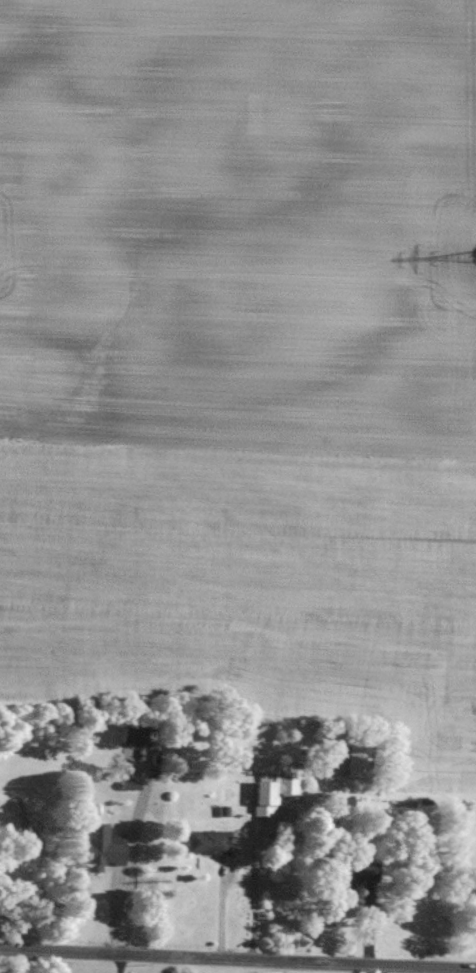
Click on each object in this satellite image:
building: (135, 733)
building: (359, 760)
building: (290, 783)
building: (264, 797)
building: (208, 841)
road: (256, 844)
building: (106, 845)
building: (356, 870)
road: (238, 954)
road: (119, 961)
road: (376, 966)

